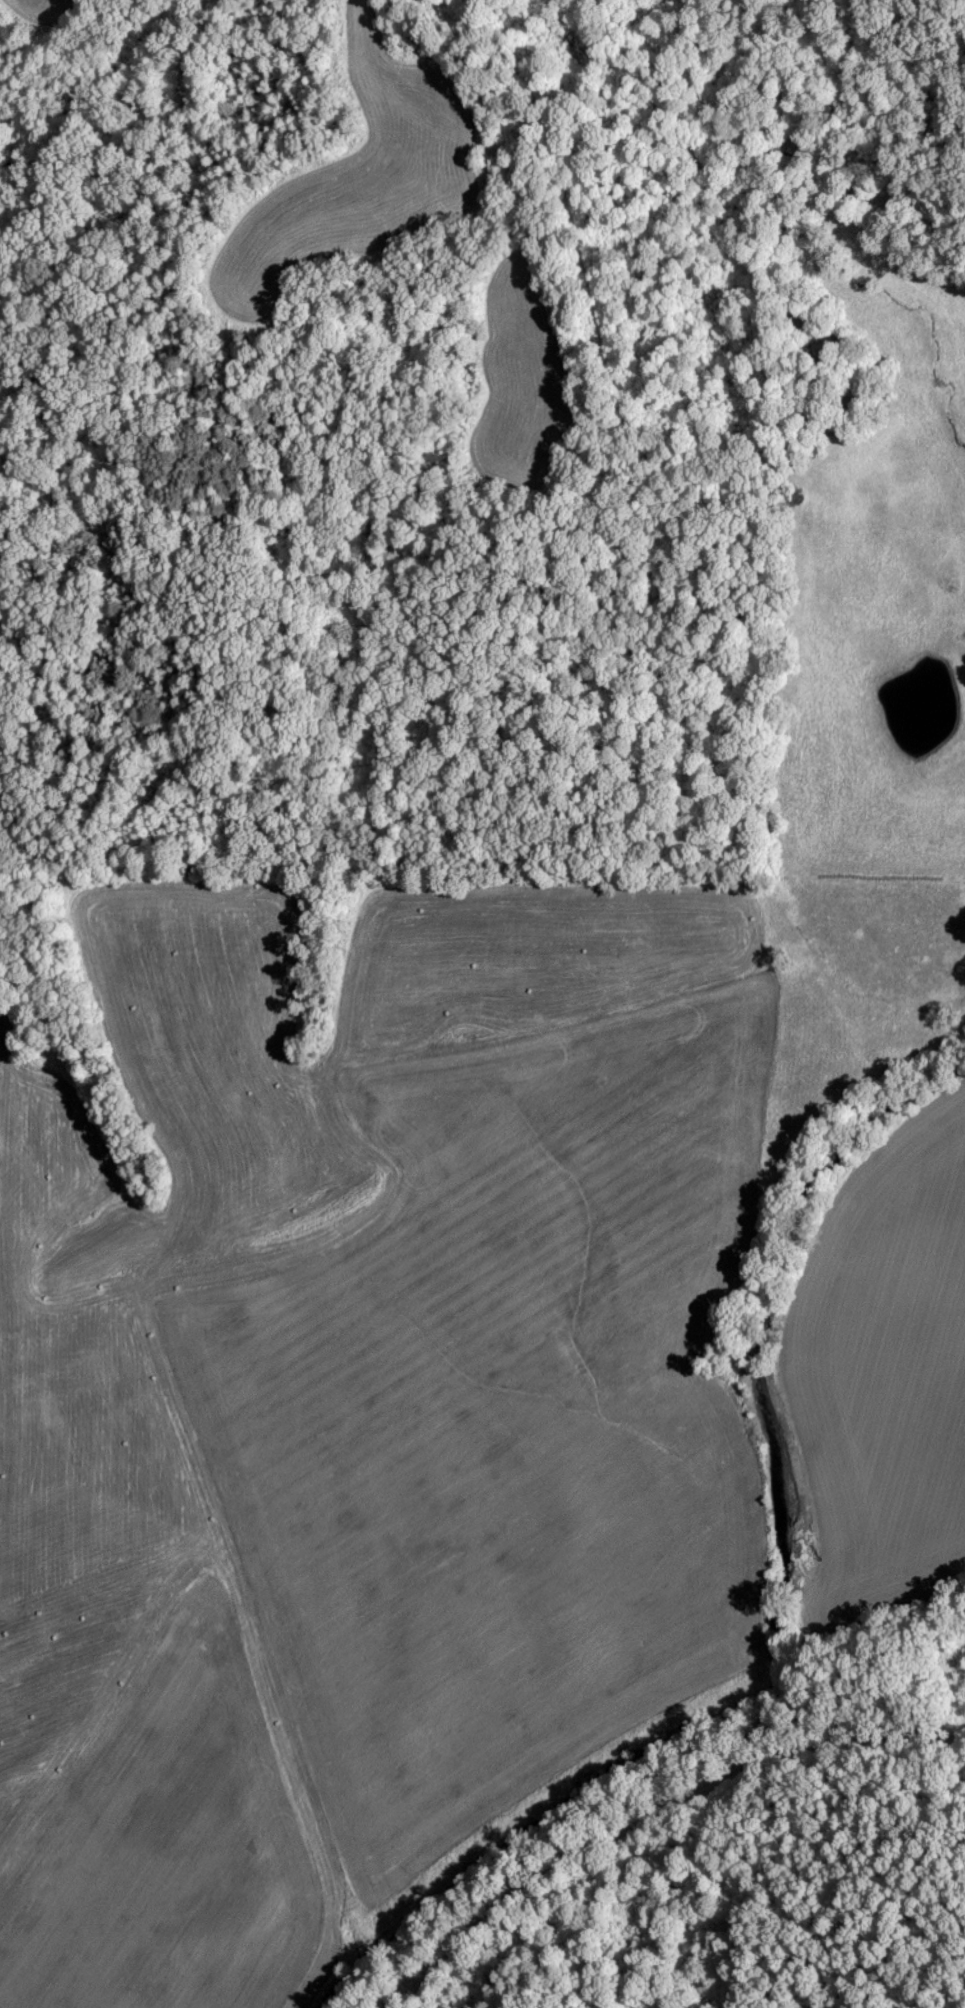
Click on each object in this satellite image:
road: (655, 1817)

